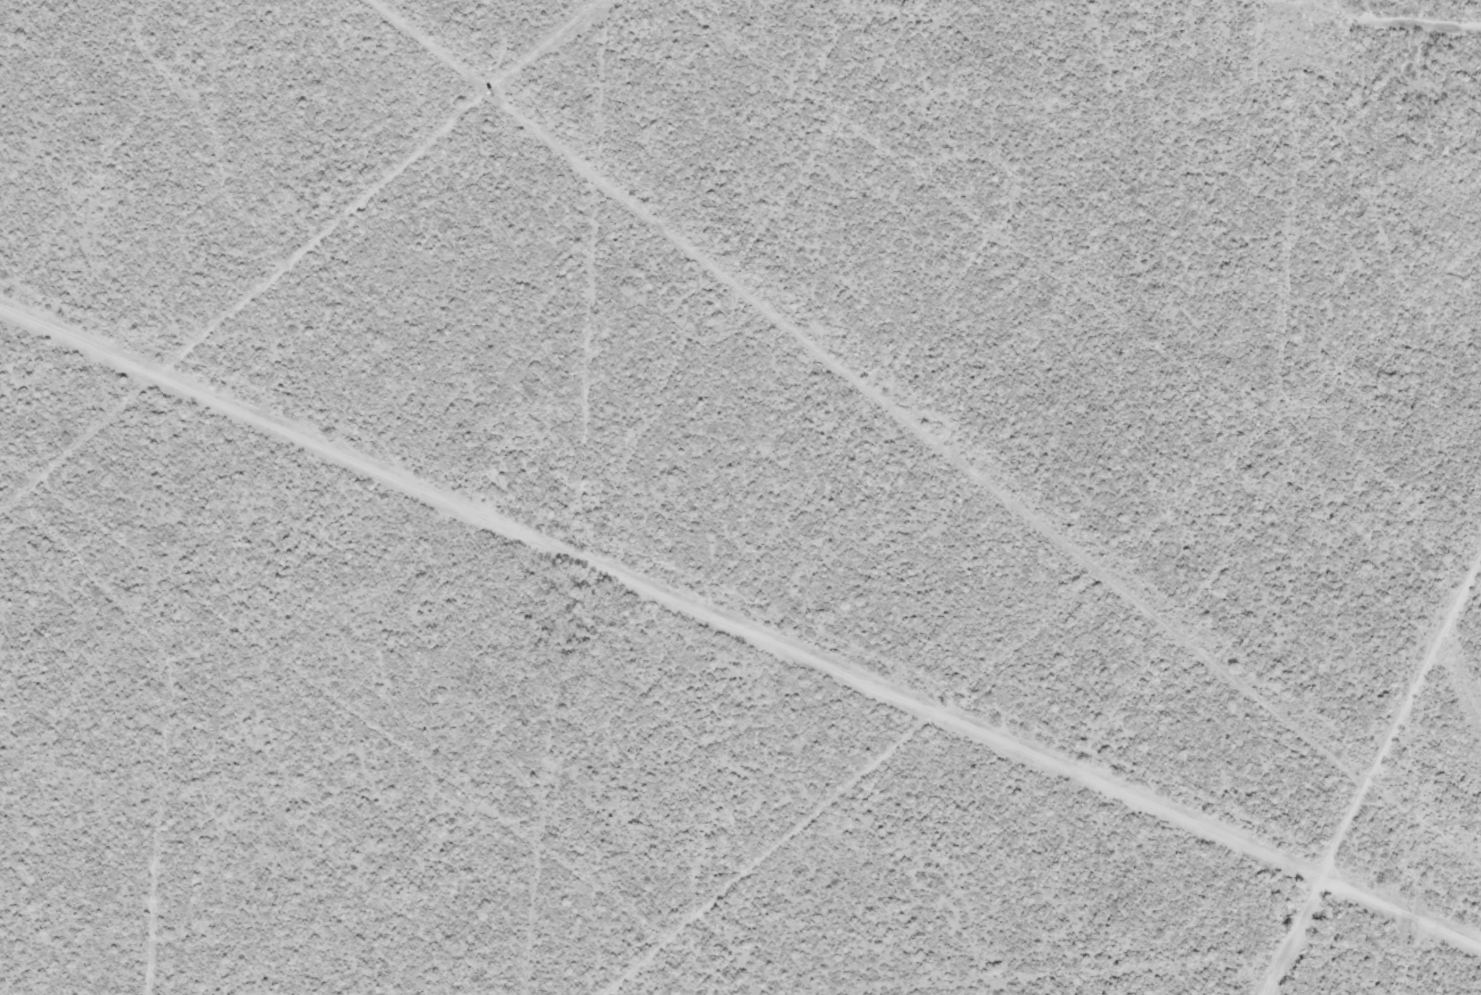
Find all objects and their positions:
road: (1295, 21)
road: (1377, 784)
road: (1418, 889)

